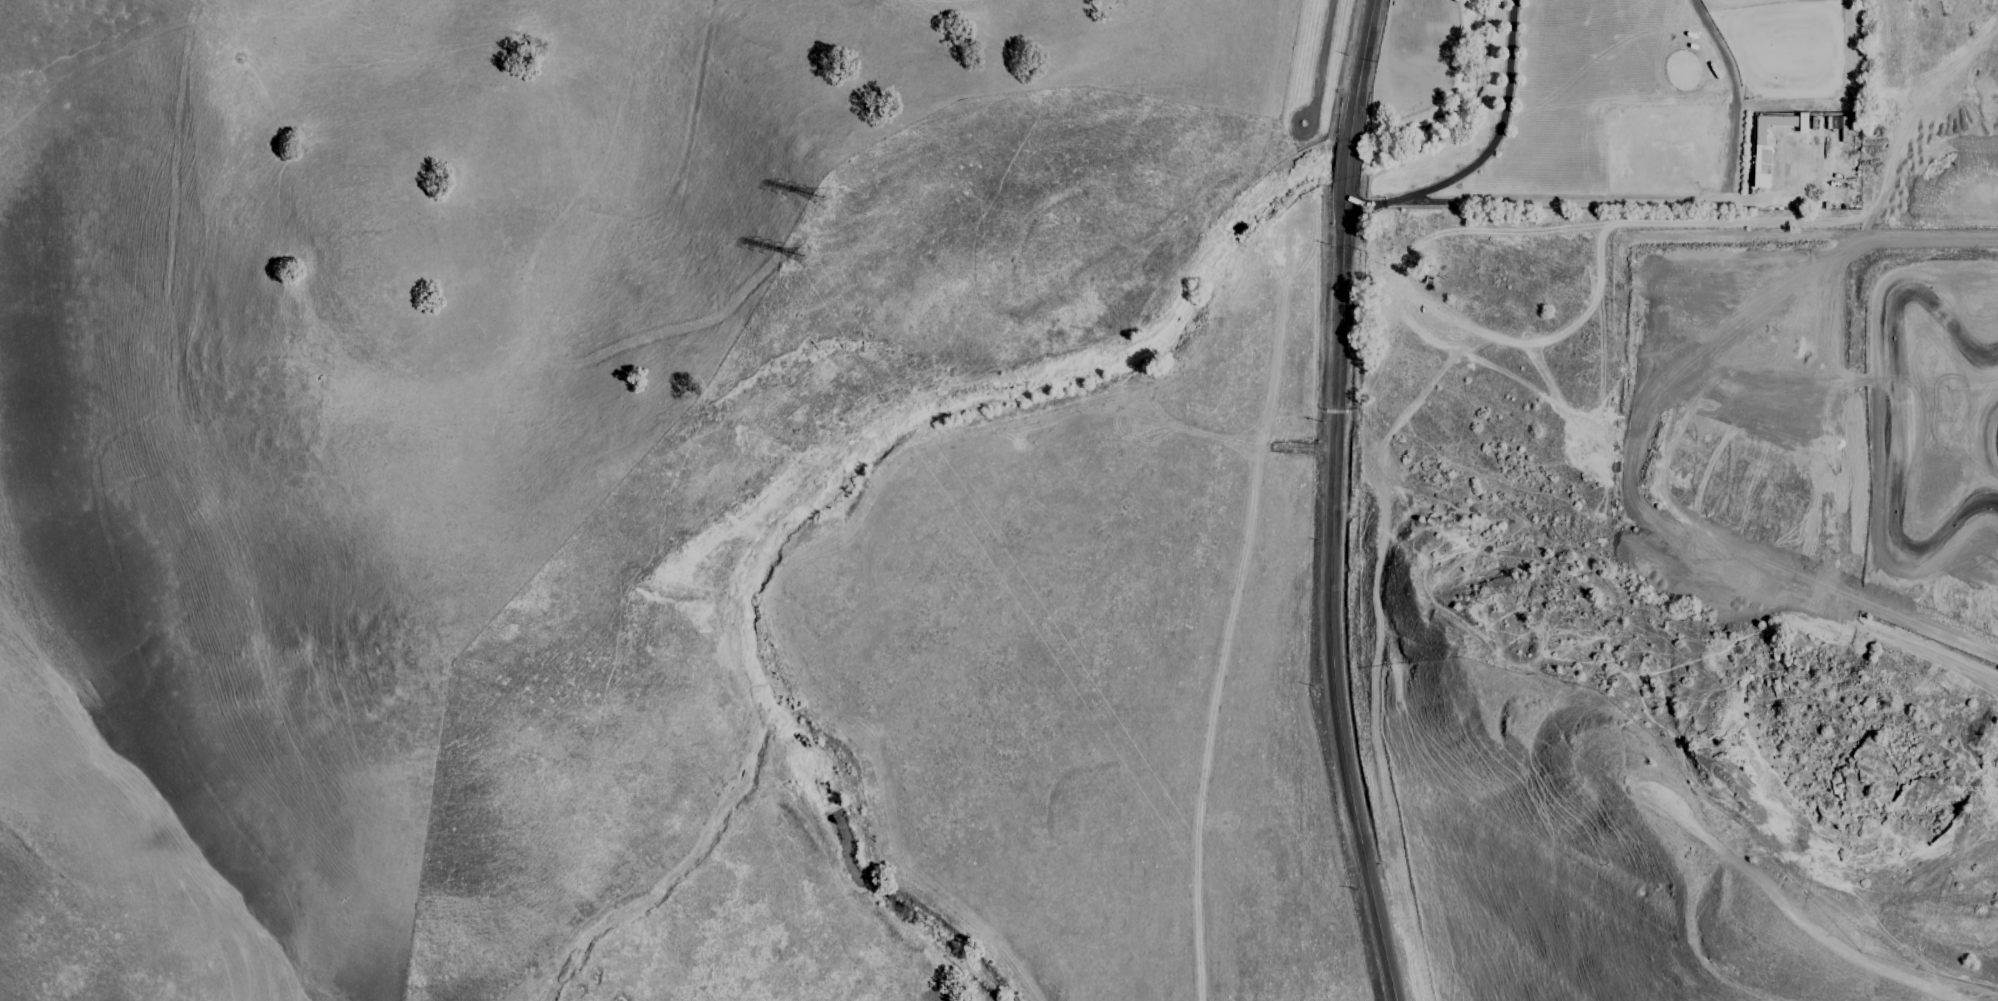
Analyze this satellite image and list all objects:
road: (1320, 61)
road: (1498, 121)
building: (1805, 123)
building: (1764, 147)
power tower: (821, 194)
road: (1376, 201)
road: (1669, 202)
power tower: (801, 260)
quarry: (1811, 411)
road: (1296, 446)
road: (1333, 502)
road: (1206, 721)

